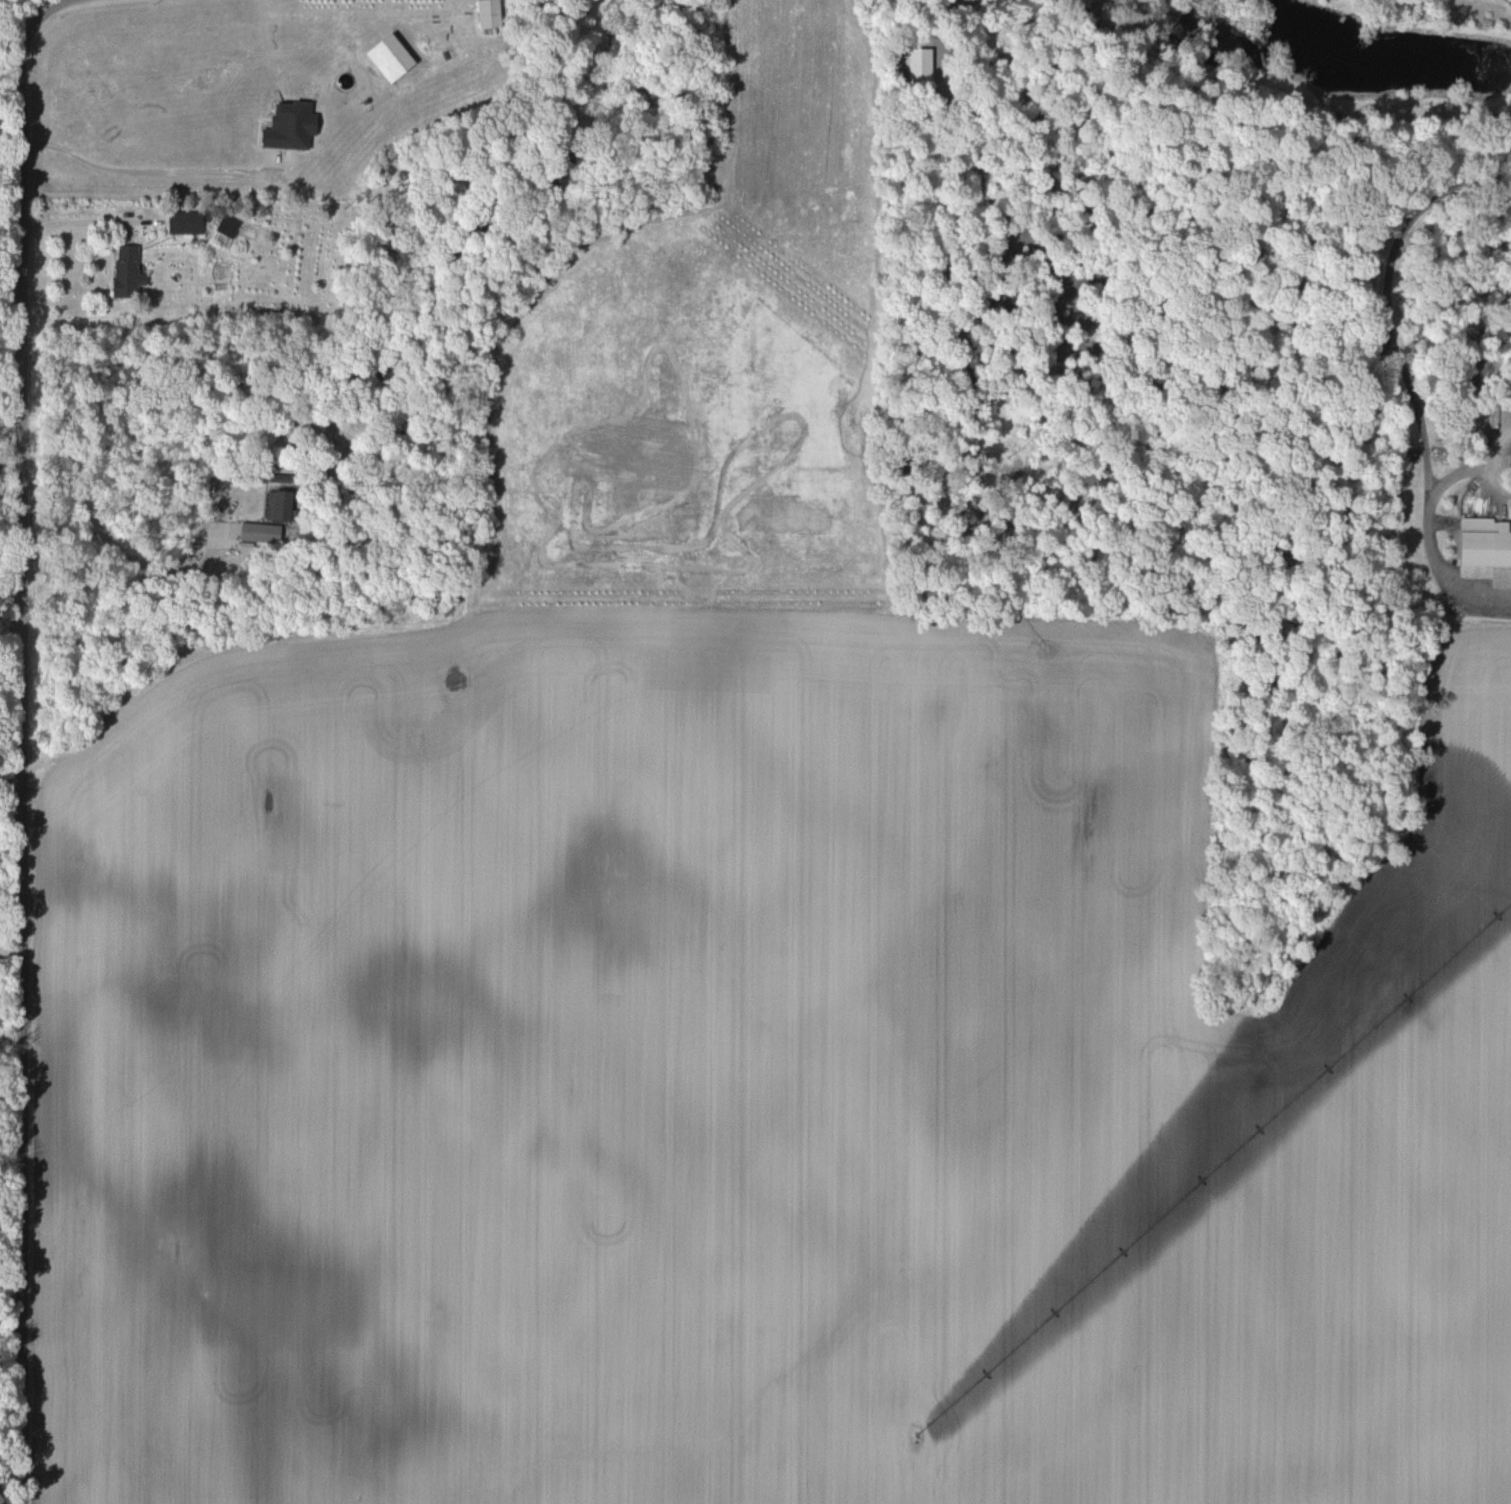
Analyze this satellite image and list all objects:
road: (1508, 2)
road: (149, 170)
building: (191, 222)
building: (231, 226)
road: (79, 229)
building: (131, 272)
road: (1393, 362)
building: (277, 505)
building: (260, 532)
building: (1487, 542)
road: (104, 543)
road: (1488, 615)
road: (22, 741)

